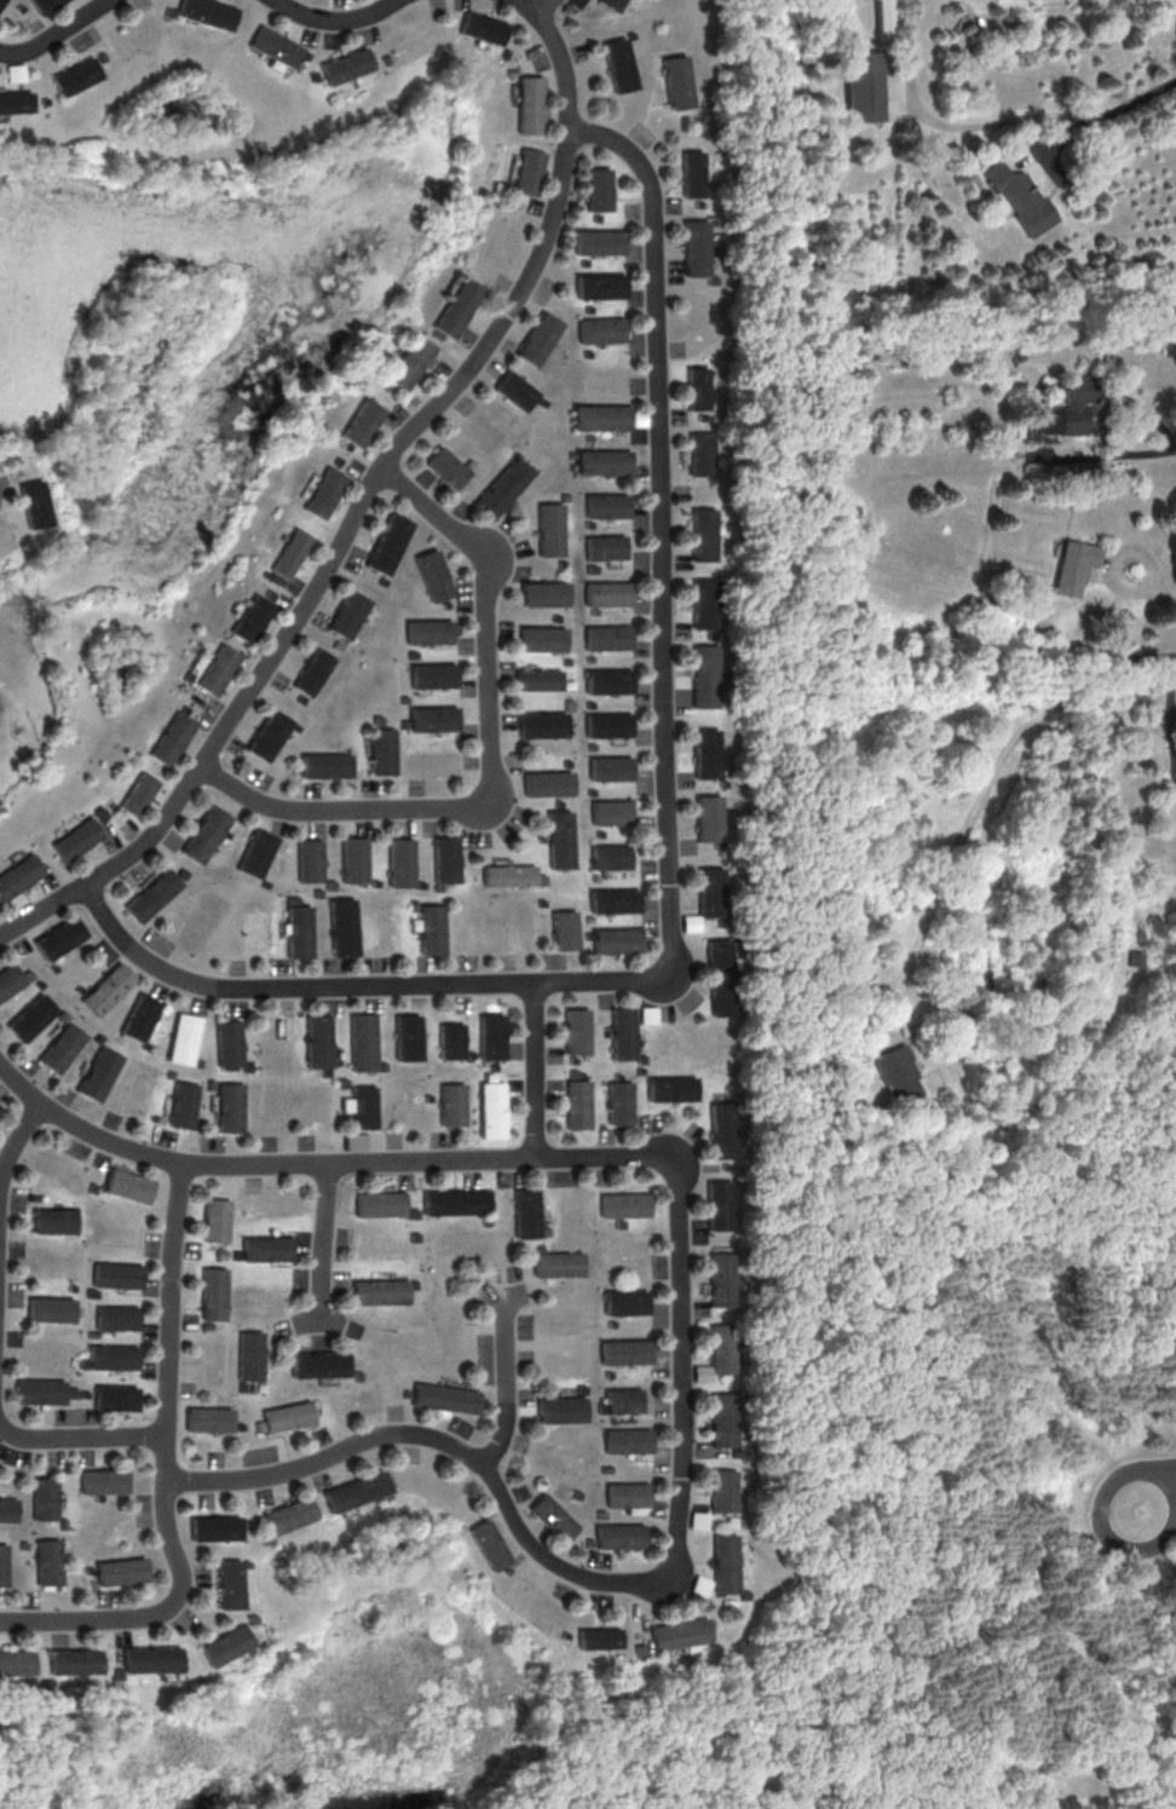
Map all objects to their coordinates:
building: (1, 1)
building: (613, 4)
building: (44, 5)
road: (543, 7)
building: (167, 12)
building: (206, 12)
road: (332, 19)
building: (881, 19)
building: (480, 27)
road: (53, 33)
building: (632, 34)
building: (273, 46)
building: (505, 53)
building: (304, 56)
building: (384, 59)
building: (344, 65)
building: (621, 65)
building: (509, 71)
building: (75, 76)
building: (311, 76)
building: (680, 81)
building: (861, 86)
road: (1140, 94)
building: (15, 102)
building: (529, 104)
road: (974, 122)
building: (529, 172)
building: (694, 174)
building: (600, 190)
building: (1019, 197)
building: (515, 203)
building: (598, 218)
building: (601, 241)
building: (699, 247)
building: (586, 263)
building: (601, 286)
building: (456, 307)
building: (589, 309)
building: (704, 318)
building: (603, 329)
building: (437, 335)
building: (540, 338)
building: (588, 353)
building: (410, 362)
building: (699, 387)
building: (515, 391)
building: (543, 402)
building: (1066, 408)
building: (601, 416)
building: (703, 416)
road: (1102, 417)
building: (363, 422)
building: (588, 437)
building: (348, 445)
building: (705, 454)
building: (339, 460)
building: (605, 461)
building: (473, 463)
building: (450, 467)
road: (0, 483)
building: (506, 488)
building: (325, 491)
building: (566, 497)
road: (363, 499)
building: (34, 503)
building: (607, 505)
building: (589, 524)
building: (553, 529)
building: (704, 534)
building: (391, 543)
building: (606, 547)
building: (293, 552)
road: (1111, 552)
building: (564, 563)
building: (1074, 566)
building: (593, 568)
building: (437, 575)
building: (275, 577)
building: (385, 581)
road: (1174, 589)
building: (547, 593)
building: (609, 593)
building: (270, 594)
building: (448, 603)
building: (703, 603)
building: (596, 611)
building: (352, 615)
building: (254, 617)
building: (559, 617)
building: (1011, 620)
building: (431, 630)
building: (711, 636)
building: (546, 638)
building: (610, 638)
building: (341, 645)
building: (414, 653)
road: (1158, 656)
building: (592, 658)
building: (570, 661)
building: (220, 668)
building: (316, 672)
building: (434, 675)
building: (708, 675)
building: (541, 680)
building: (611, 681)
building: (304, 698)
building: (405, 699)
building: (592, 703)
building: (572, 704)
building: (188, 709)
building: (434, 718)
building: (379, 719)
building: (611, 724)
building: (405, 725)
building: (544, 725)
building: (298, 727)
building: (272, 734)
building: (174, 738)
building: (594, 745)
building: (384, 751)
building: (709, 754)
road: (491, 757)
building: (569, 762)
building: (328, 765)
building: (612, 767)
building: (549, 783)
building: (139, 793)
building: (593, 793)
building: (560, 803)
building: (114, 806)
building: (612, 812)
building: (103, 813)
road: (972, 813)
building: (709, 818)
building: (208, 834)
building: (229, 834)
road: (667, 837)
building: (77, 839)
building: (560, 839)
building: (258, 852)
building: (610, 855)
building: (311, 859)
building: (354, 859)
building: (445, 859)
building: (400, 862)
building: (185, 872)
building: (19, 875)
building: (508, 875)
building: (595, 877)
building: (266, 883)
building: (376, 883)
building: (332, 885)
building: (421, 885)
building: (437, 887)
building: (711, 892)
building: (318, 893)
building: (155, 894)
building: (293, 899)
building: (613, 900)
building: (538, 901)
building: (414, 906)
building: (587, 918)
building: (690, 922)
building: (342, 926)
building: (430, 929)
building: (299, 931)
building: (561, 931)
building: (586, 935)
building: (62, 938)
building: (615, 940)
building: (56, 967)
building: (29, 975)
building: (722, 978)
building: (10, 979)
building: (40, 983)
building: (80, 987)
building: (109, 989)
building: (645, 1014)
building: (64, 1015)
building: (31, 1018)
building: (140, 1018)
building: (573, 1031)
building: (619, 1032)
building: (488, 1036)
building: (99, 1037)
building: (405, 1037)
building: (184, 1038)
building: (317, 1041)
building: (359, 1041)
building: (446, 1041)
building: (229, 1043)
building: (148, 1044)
building: (63, 1047)
building: (467, 1054)
building: (639, 1058)
building: (569, 1059)
building: (197, 1061)
building: (247, 1066)
building: (381, 1066)
building: (490, 1066)
building: (636, 1068)
road: (531, 1070)
building: (324, 1072)
building: (99, 1073)
building: (172, 1073)
building: (571, 1073)
building: (898, 1075)
building: (485, 1076)
building: (616, 1076)
building: (340, 1082)
building: (211, 1084)
building: (670, 1088)
building: (426, 1098)
building: (617, 1102)
building: (184, 1104)
building: (449, 1105)
building: (575, 1105)
building: (230, 1107)
building: (361, 1107)
building: (0, 1108)
building: (489, 1108)
building: (722, 1129)
road: (16, 1136)
building: (354, 1140)
building: (129, 1186)
building: (92, 1188)
building: (31, 1196)
building: (454, 1202)
building: (379, 1203)
building: (624, 1204)
building: (719, 1205)
building: (410, 1212)
building: (524, 1212)
building: (53, 1220)
building: (217, 1220)
building: (485, 1221)
building: (618, 1223)
building: (543, 1231)
building: (413, 1237)
road: (322, 1246)
building: (266, 1248)
building: (540, 1248)
building: (220, 1254)
building: (236, 1254)
building: (559, 1263)
building: (117, 1274)
building: (720, 1278)
building: (413, 1284)
building: (70, 1286)
building: (379, 1291)
building: (91, 1292)
building: (213, 1292)
building: (624, 1301)
road: (678, 1307)
building: (50, 1309)
building: (116, 1317)
building: (611, 1323)
building: (206, 1325)
building: (92, 1332)
building: (721, 1348)
building: (626, 1352)
building: (113, 1355)
building: (249, 1355)
building: (82, 1362)
building: (321, 1364)
building: (702, 1372)
building: (609, 1373)
building: (358, 1375)
road: (505, 1381)
building: (242, 1385)
building: (583, 1389)
building: (40, 1390)
building: (73, 1392)
building: (85, 1394)
building: (115, 1396)
building: (445, 1396)
building: (623, 1399)
building: (564, 1408)
building: (288, 1416)
building: (208, 1418)
building: (722, 1418)
building: (240, 1425)
building: (260, 1425)
road: (22, 1436)
road: (106, 1438)
building: (628, 1440)
building: (606, 1468)
road: (166, 1475)
building: (104, 1480)
building: (356, 1490)
building: (724, 1490)
road: (1158, 1493)
building: (577, 1494)
building: (629, 1494)
building: (46, 1497)
building: (100, 1497)
building: (8, 1509)
building: (601, 1513)
building: (289, 1515)
building: (553, 1517)
building: (698, 1520)
building: (65, 1522)
building: (217, 1527)
building: (619, 1534)
building: (266, 1539)
building: (589, 1542)
building: (27, 1544)
building: (485, 1544)
building: (51, 1561)
building: (724, 1562)
building: (246, 1563)
building: (5, 1565)
building: (90, 1569)
building: (122, 1571)
building: (503, 1571)
building: (229, 1584)
building: (698, 1585)
building: (744, 1595)
building: (248, 1618)
building: (676, 1632)
building: (560, 1635)
building: (594, 1637)
building: (223, 1644)
building: (634, 1652)
building: (149, 1659)
building: (73, 1660)
building: (16, 1661)
building: (114, 1672)
building: (28, 1678)
building: (46, 1684)

